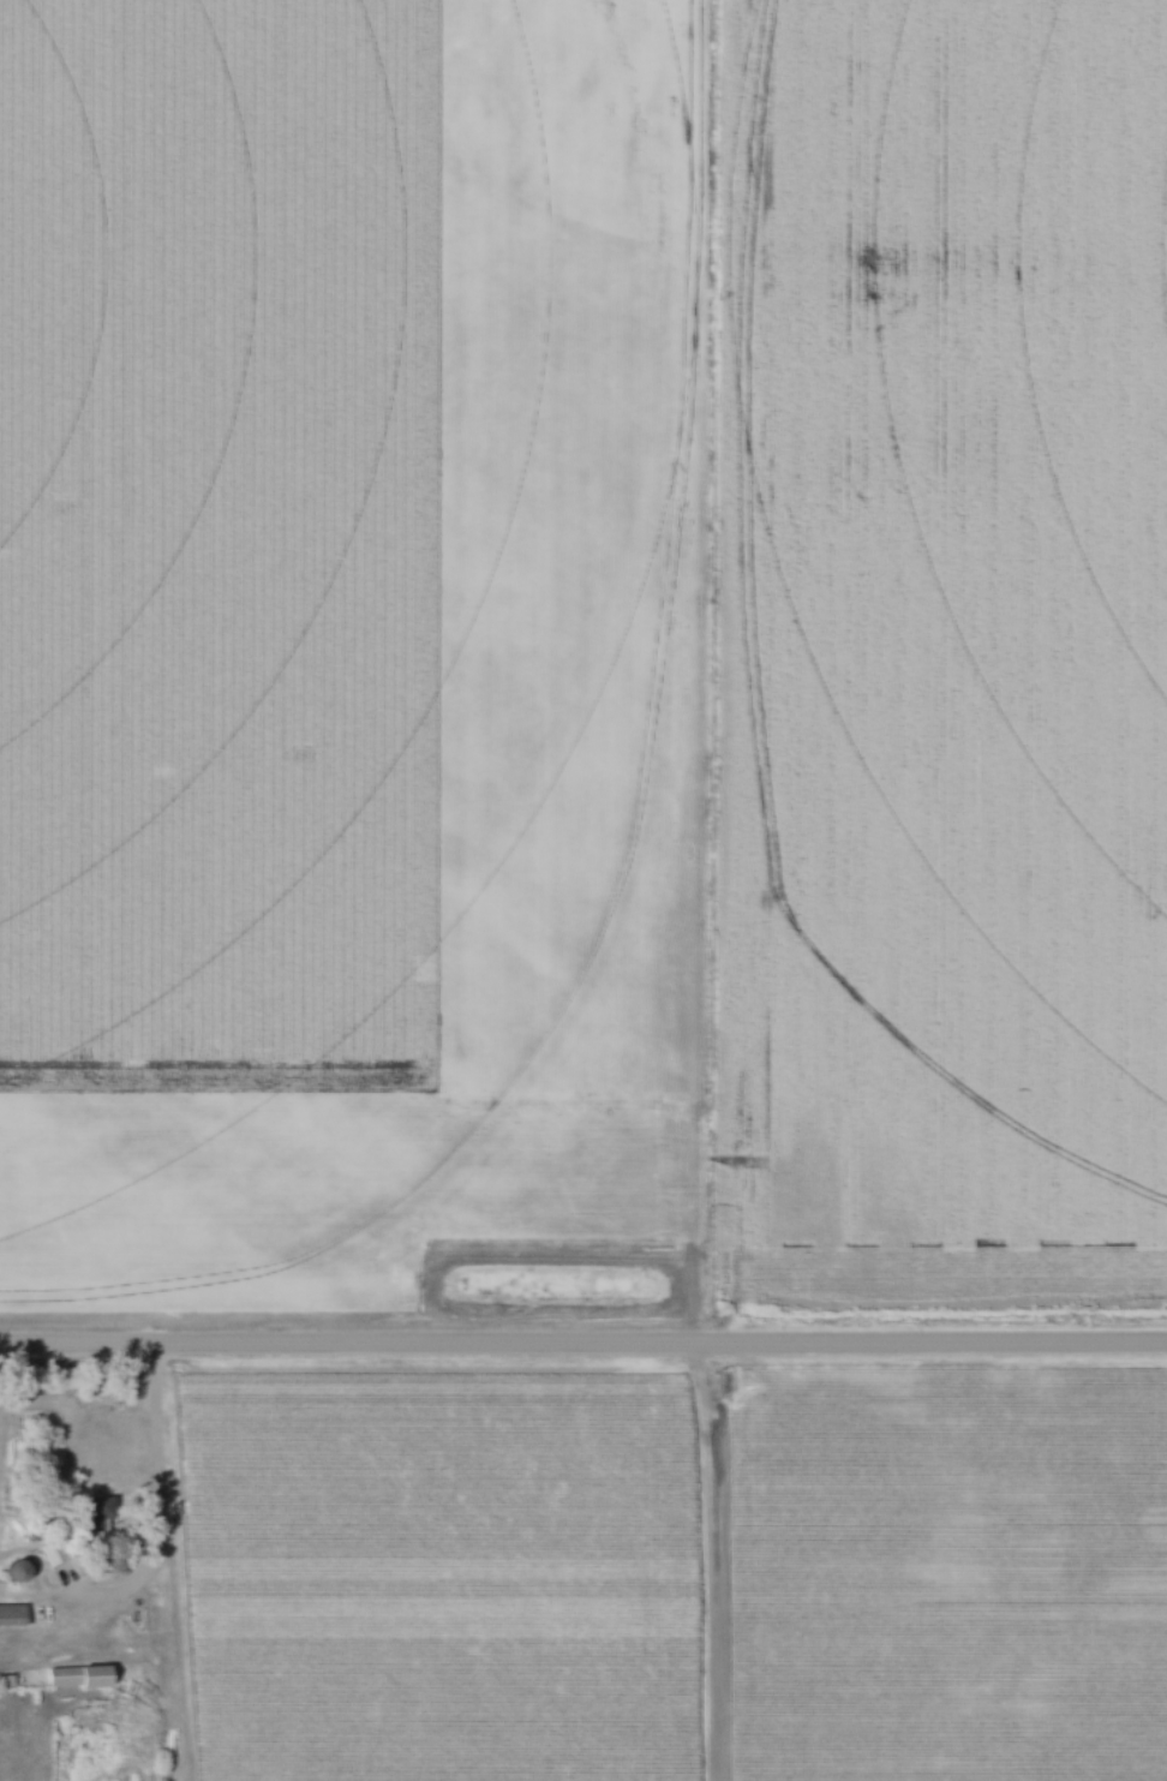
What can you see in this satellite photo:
road: (582, 1349)
road: (161, 1517)
building: (94, 1522)
building: (48, 1555)
building: (12, 1573)
building: (12, 1616)
building: (74, 1679)

